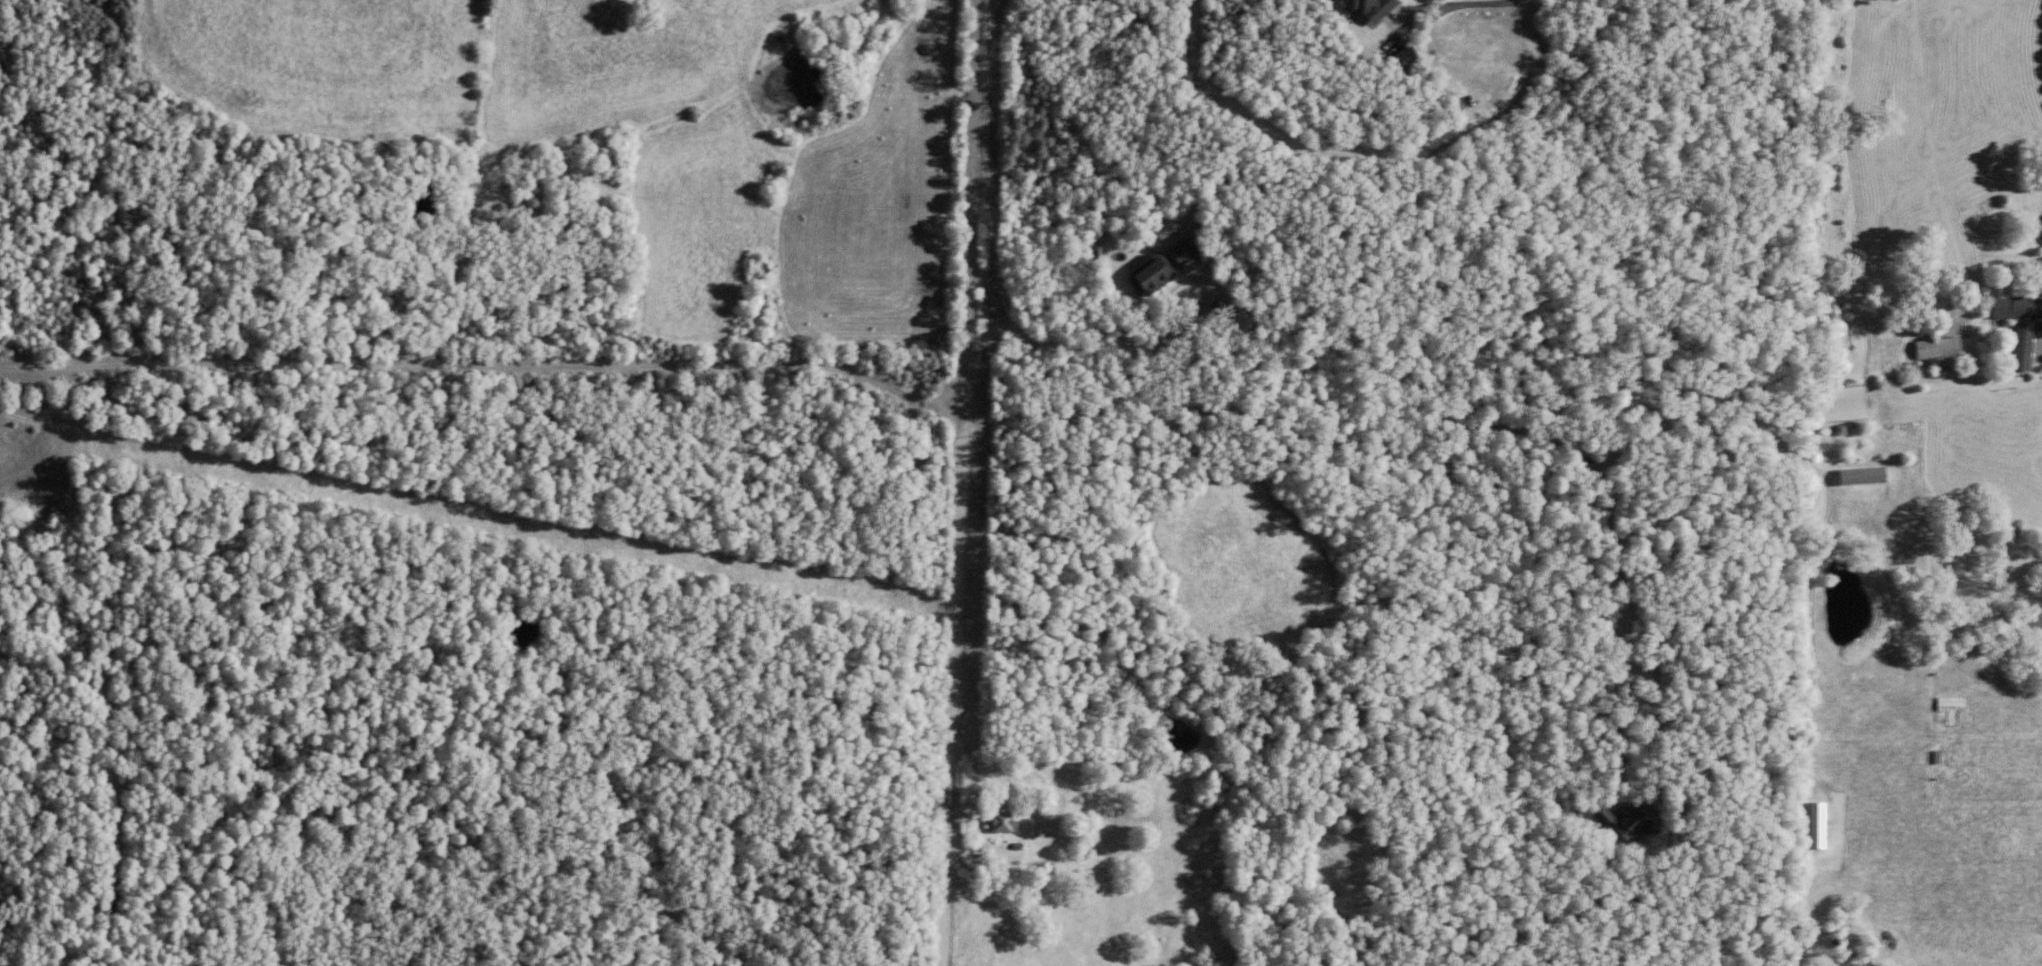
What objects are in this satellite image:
building: (1372, 10)
building: (1154, 280)
building: (2020, 330)
road: (482, 351)
building: (1937, 352)
building: (1862, 481)
road: (958, 483)
building: (1949, 707)
building: (1001, 826)
building: (1817, 829)
building: (1636, 830)
road: (1098, 840)

